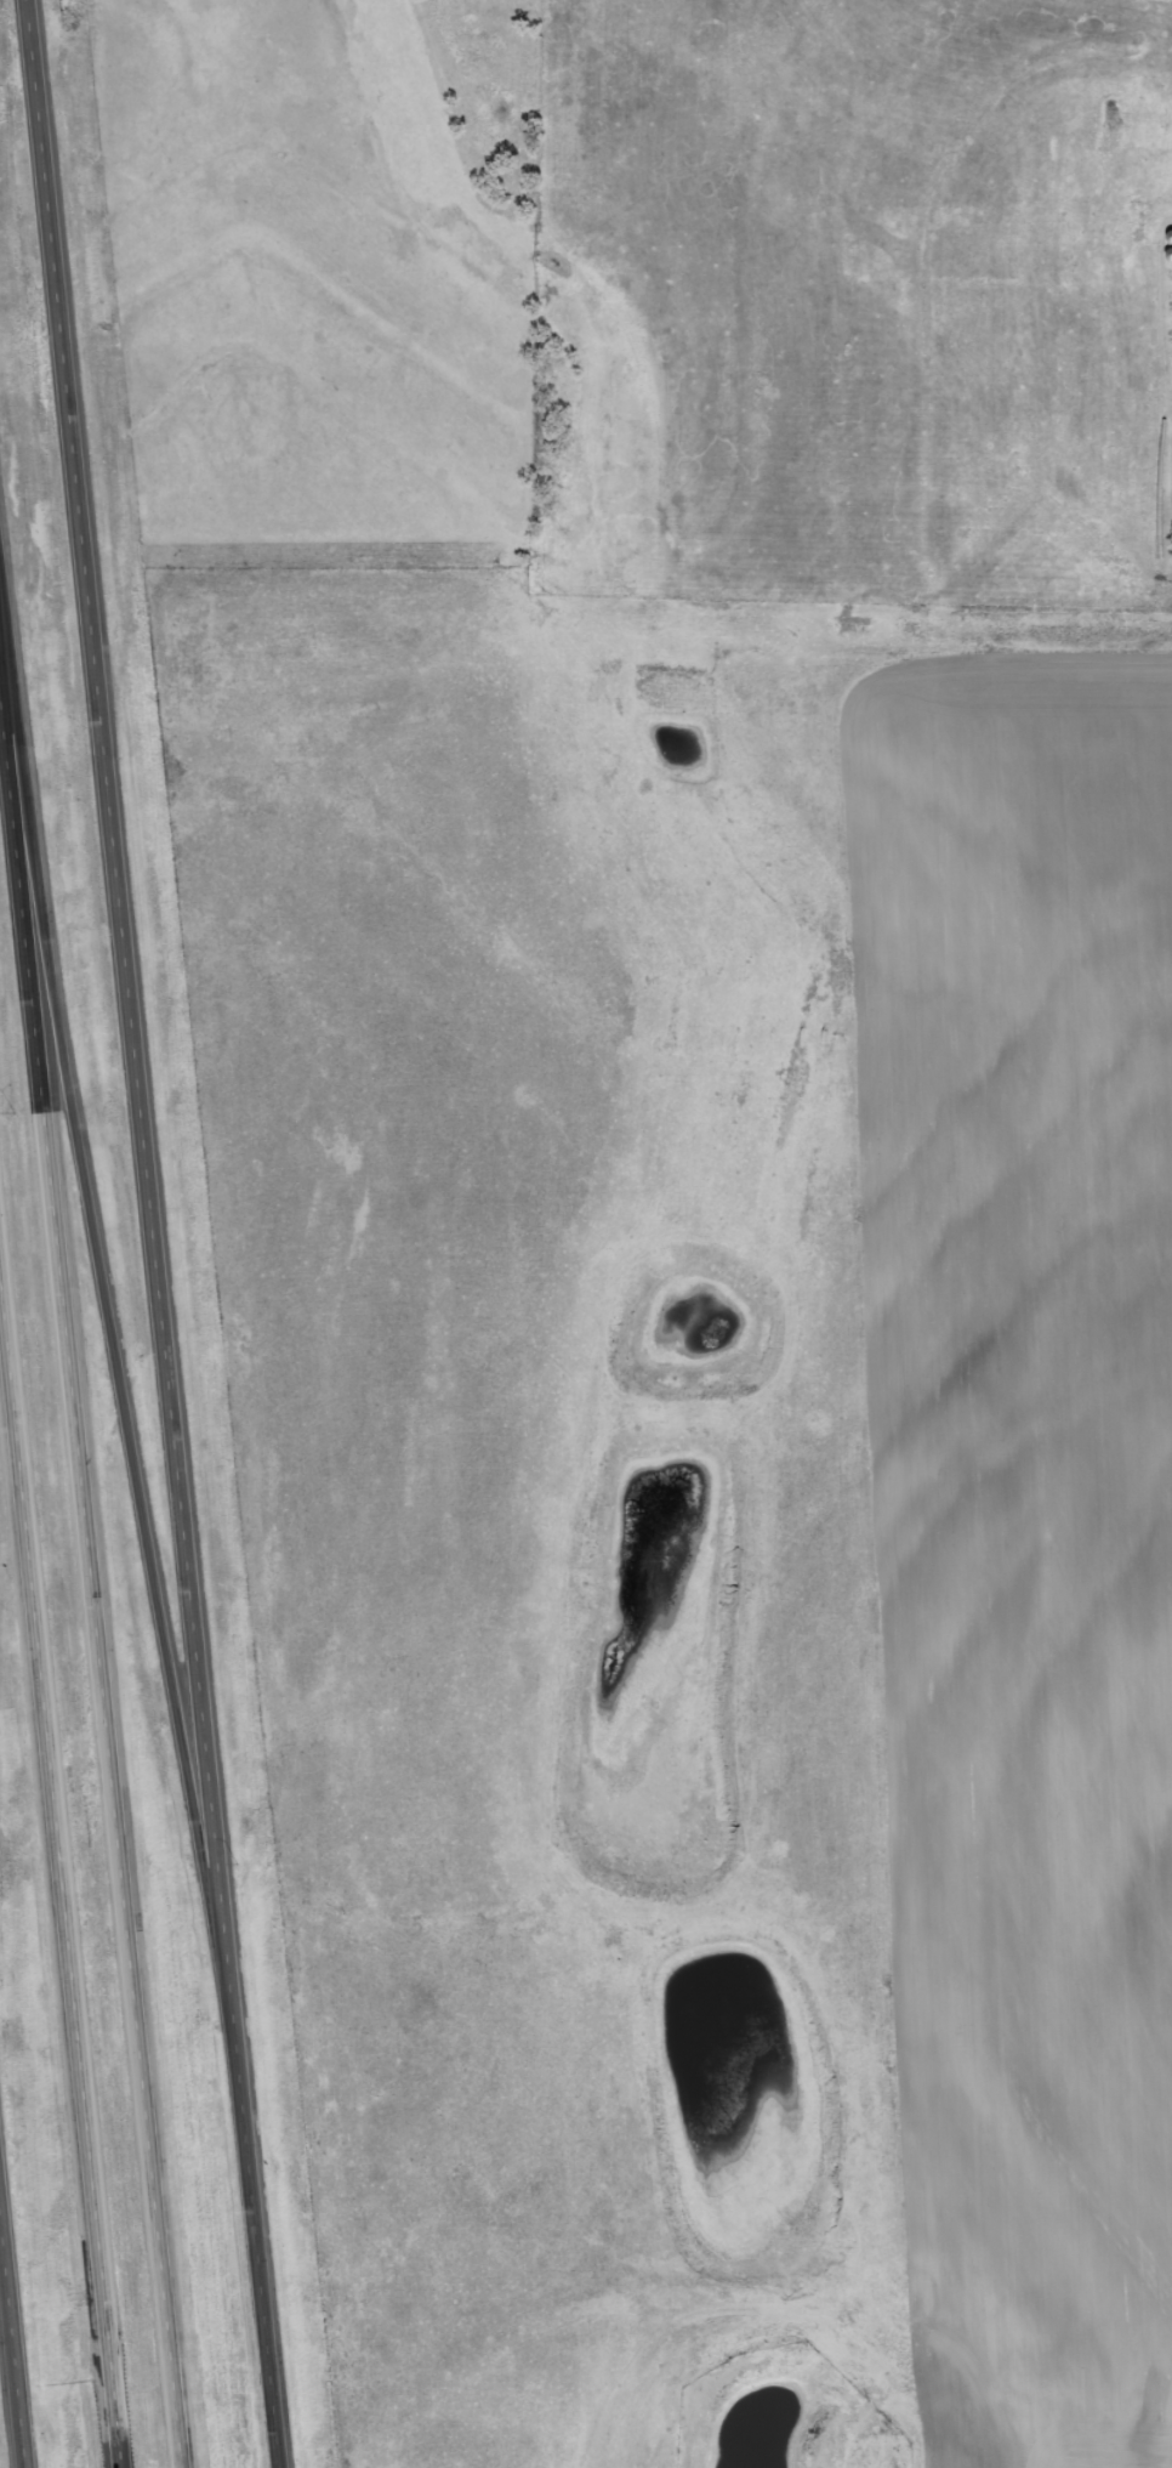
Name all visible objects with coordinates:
railway: (586, 1012)
road: (153, 1233)
road: (107, 1306)
road: (91, 1581)
road: (55, 1895)
road: (11, 2359)

